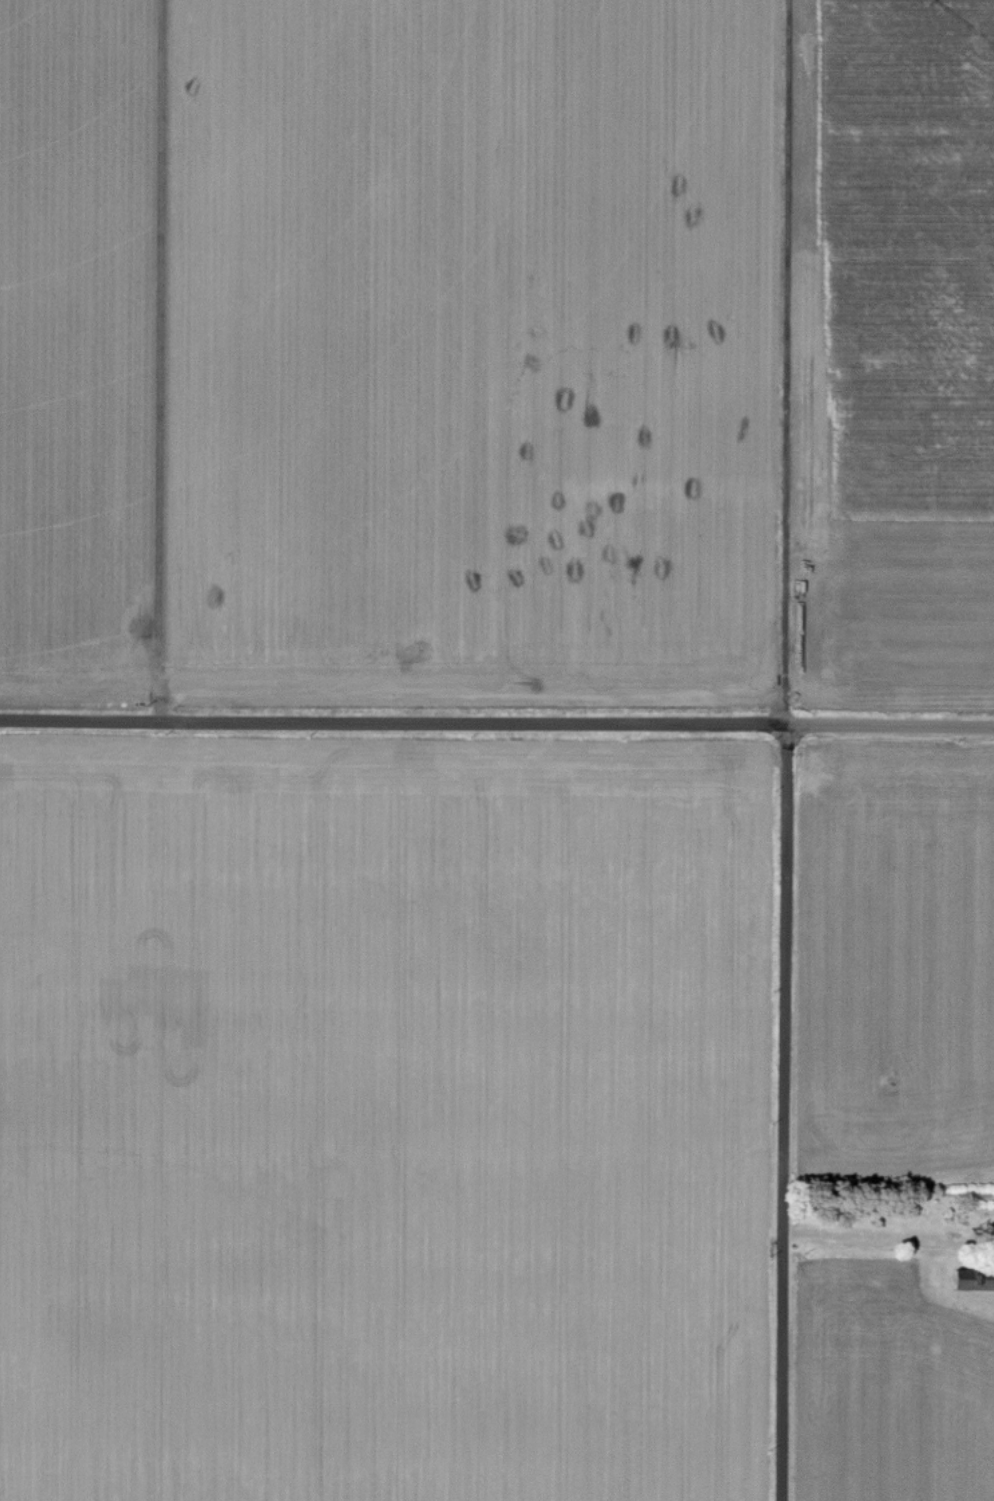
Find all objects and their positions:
road: (160, 359)
road: (393, 720)
road: (890, 724)
road: (782, 1112)
road: (885, 1237)
building: (972, 1278)

